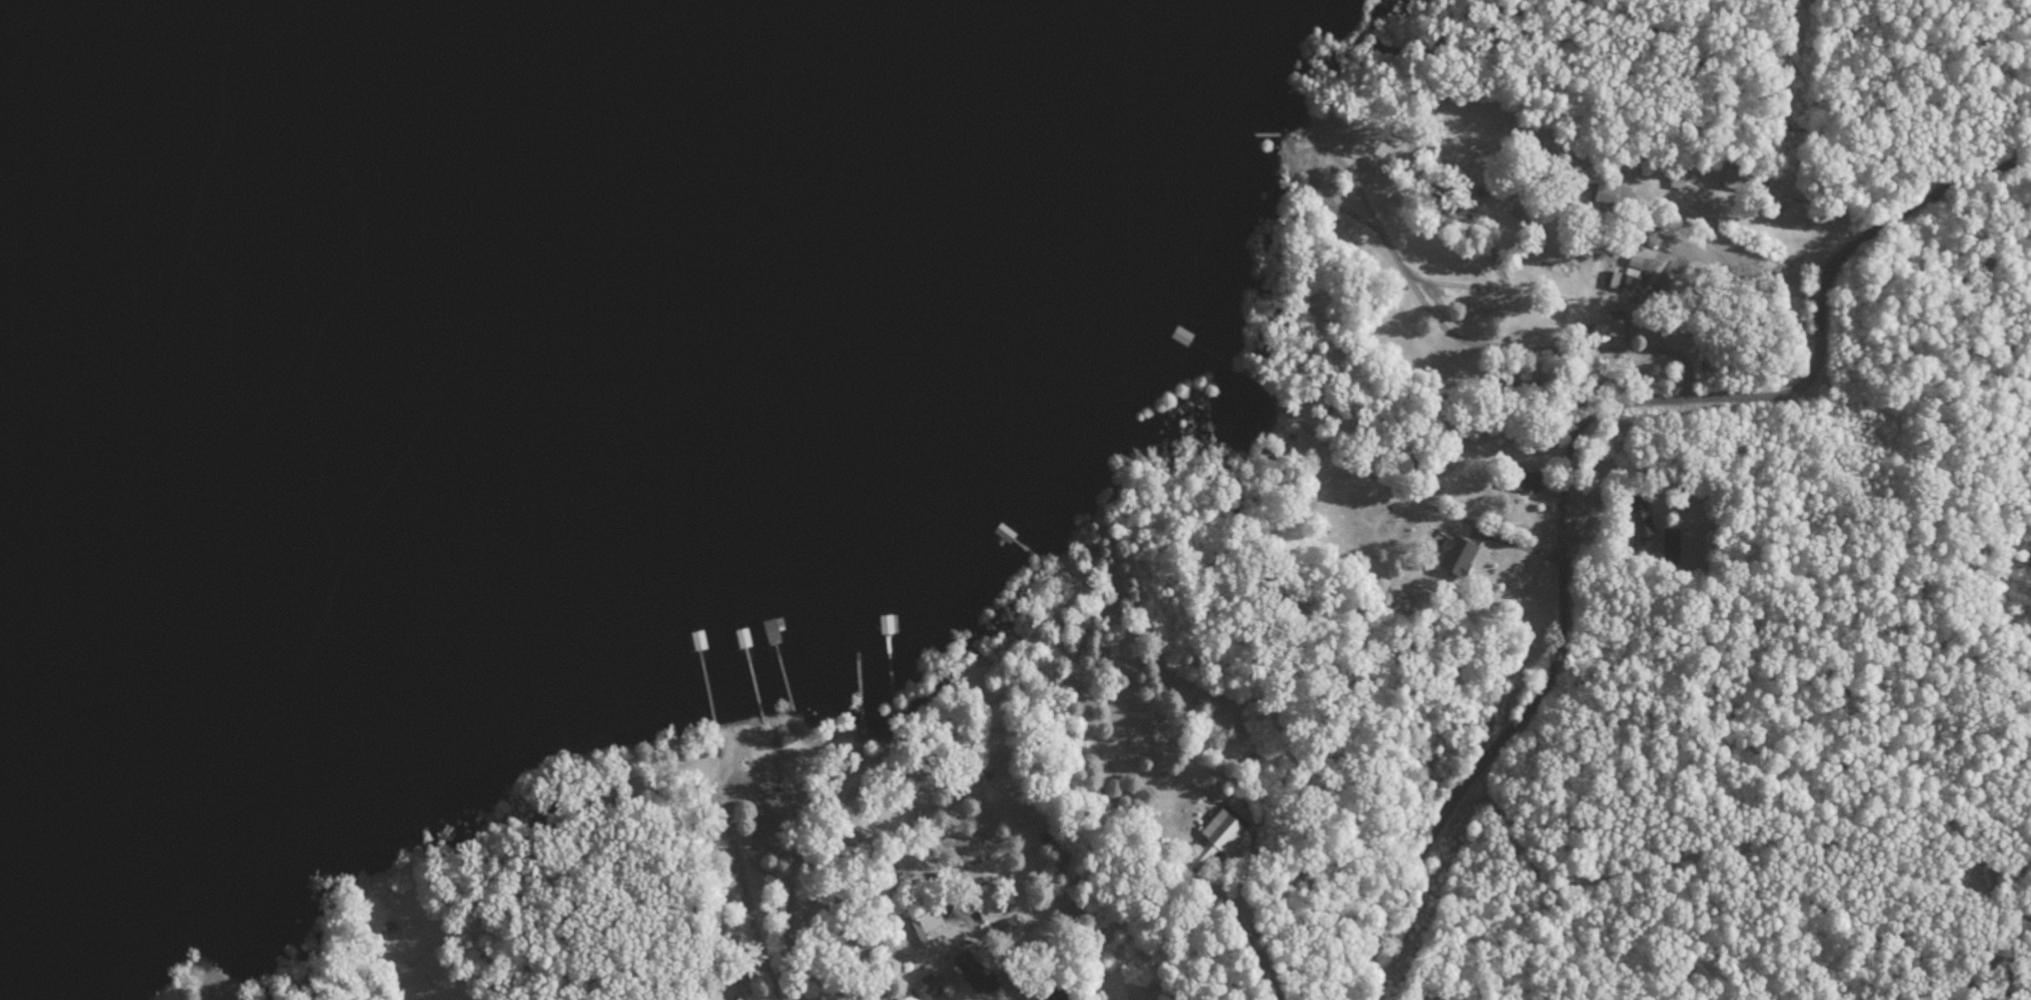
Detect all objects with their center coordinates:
river: (26, 67)
building: (1606, 197)
road: (1701, 290)
building: (1611, 332)
pier: (1207, 340)
road: (1569, 448)
building: (1642, 520)
pier: (1022, 543)
building: (1670, 544)
building: (1459, 557)
pier: (860, 666)
pier: (782, 668)
pier: (713, 669)
pier: (753, 669)
road: (849, 749)
building: (1222, 835)
building: (927, 926)
building: (976, 975)
road: (220, 993)
building: (1059, 997)

